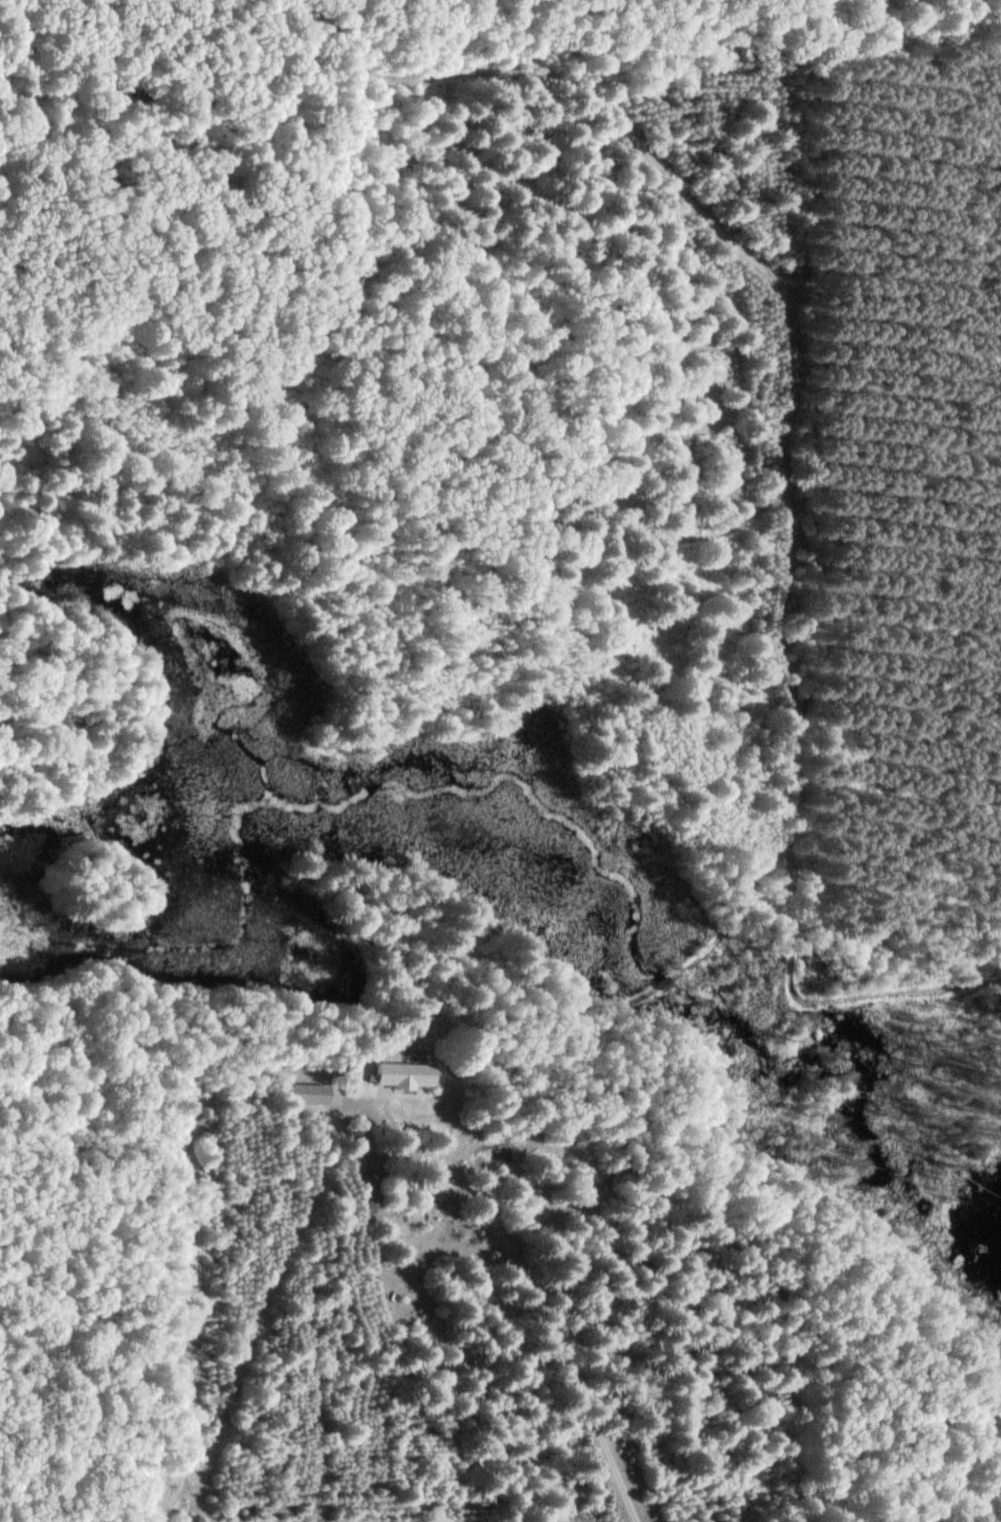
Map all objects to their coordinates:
road: (787, 452)
road: (733, 912)
road: (662, 980)
building: (662, 982)
building: (336, 1069)
building: (400, 1073)
road: (611, 1096)
building: (304, 1103)
building: (368, 1188)
building: (369, 1212)
road: (523, 1276)
building: (984, 1402)

